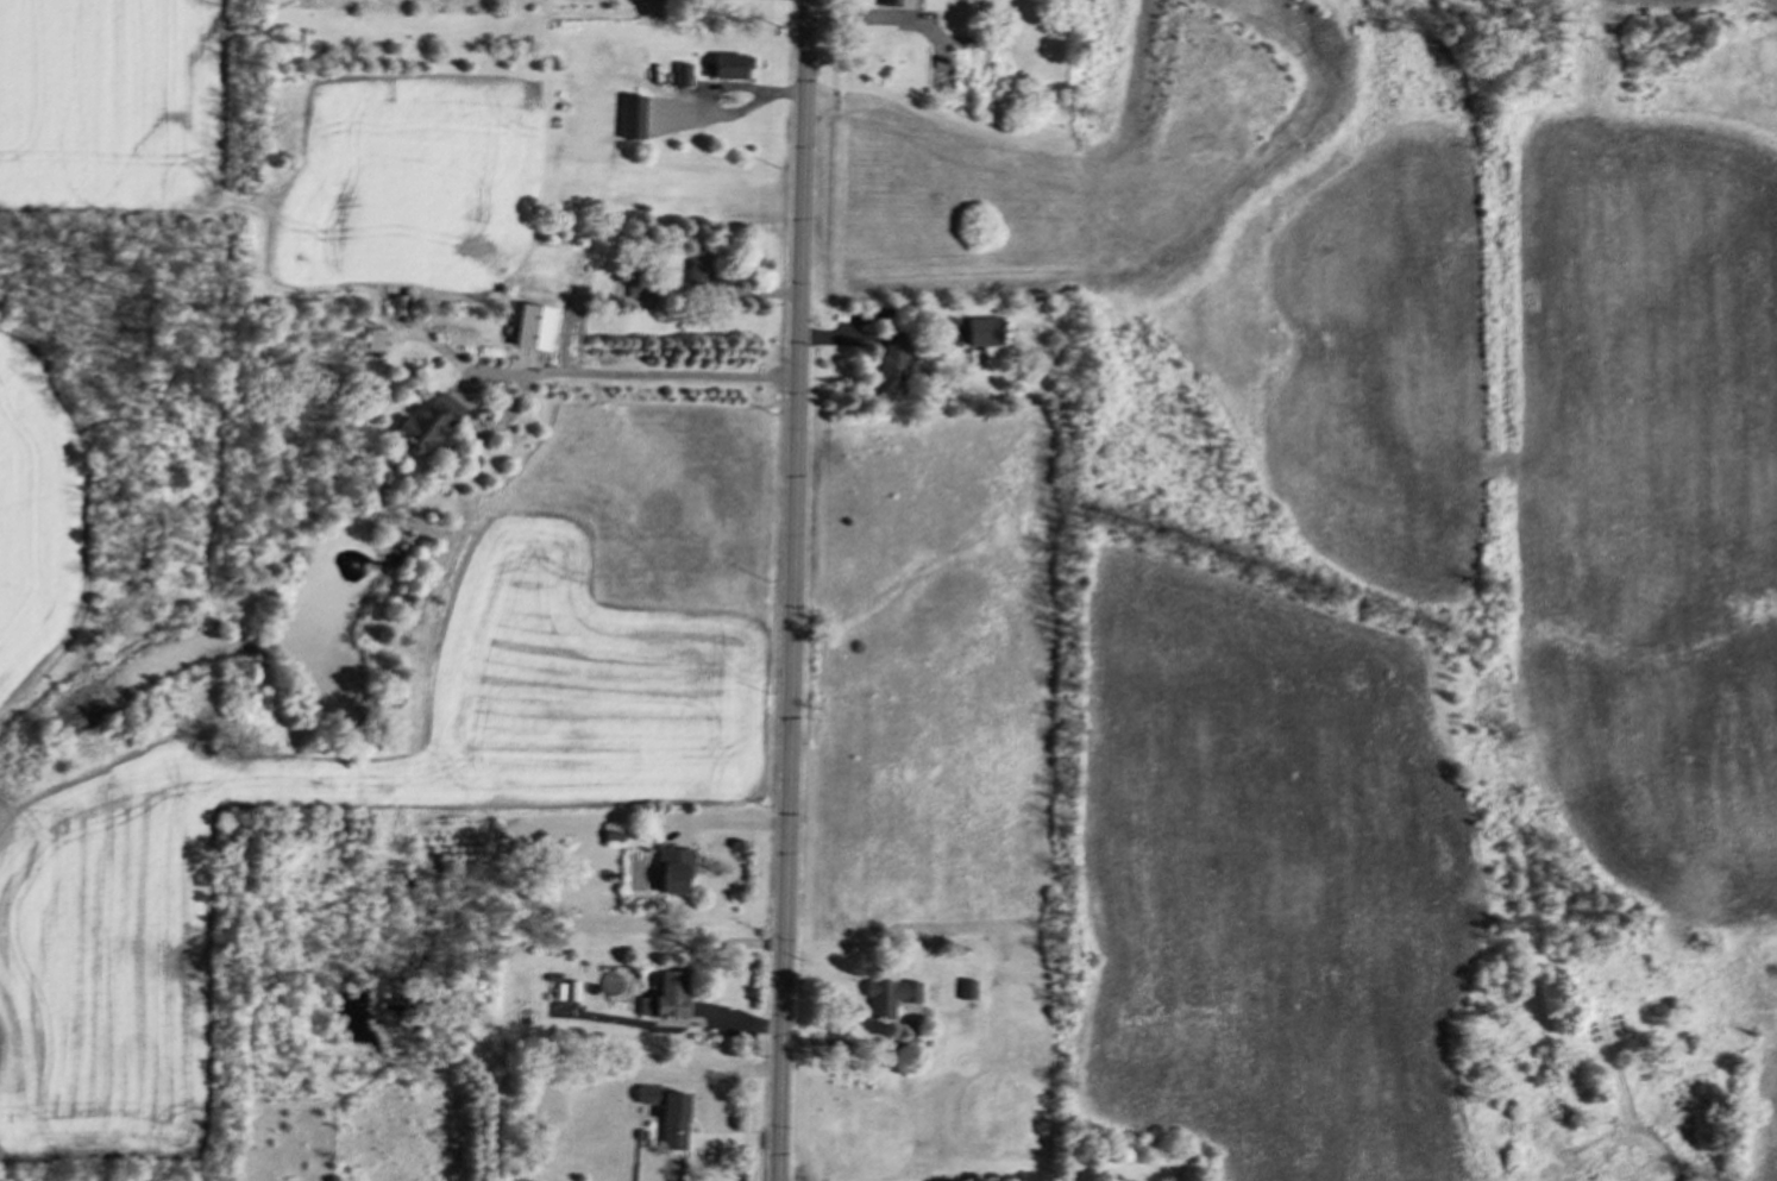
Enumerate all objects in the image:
building: (887, 2)
building: (729, 64)
building: (680, 73)
road: (710, 87)
building: (630, 115)
building: (698, 269)
building: (634, 283)
road: (723, 293)
building: (530, 326)
building: (982, 329)
building: (372, 339)
building: (891, 363)
road: (566, 371)
building: (426, 423)
crop: (113, 573)
road: (791, 590)
crop: (1426, 590)
building: (672, 867)
building: (965, 988)
building: (887, 994)
building: (664, 995)
building: (665, 1113)

